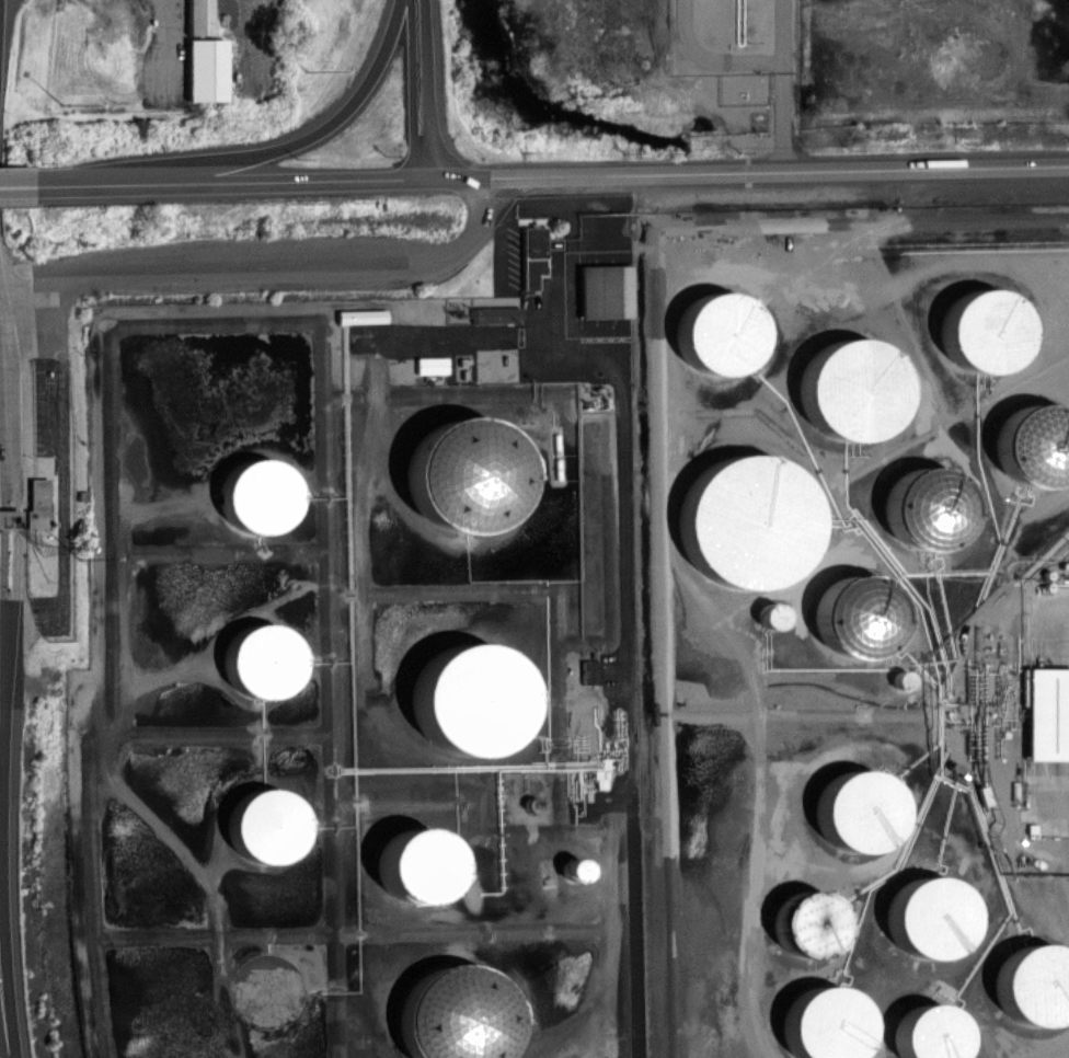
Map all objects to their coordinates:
building: (199, 16)
building: (207, 69)
road: (411, 89)
road: (427, 89)
road: (298, 140)
road: (749, 173)
road: (255, 180)
road: (41, 182)
building: (531, 255)
road: (274, 269)
building: (604, 291)
building: (495, 314)
building: (364, 315)
building: (981, 331)
building: (716, 334)
building: (432, 365)
building: (850, 390)
road: (61, 471)
building: (462, 473)
building: (258, 495)
building: (38, 503)
toll booth: (4, 518)
building: (8, 518)
building: (746, 521)
building: (771, 616)
road: (4, 636)
building: (262, 662)
building: (590, 671)
building: (469, 699)
building: (1046, 713)
building: (857, 810)
building: (266, 825)
building: (415, 865)
building: (573, 870)
building: (927, 917)
building: (806, 924)
building: (1033, 986)
building: (449, 1001)
building: (823, 1023)
building: (927, 1033)

